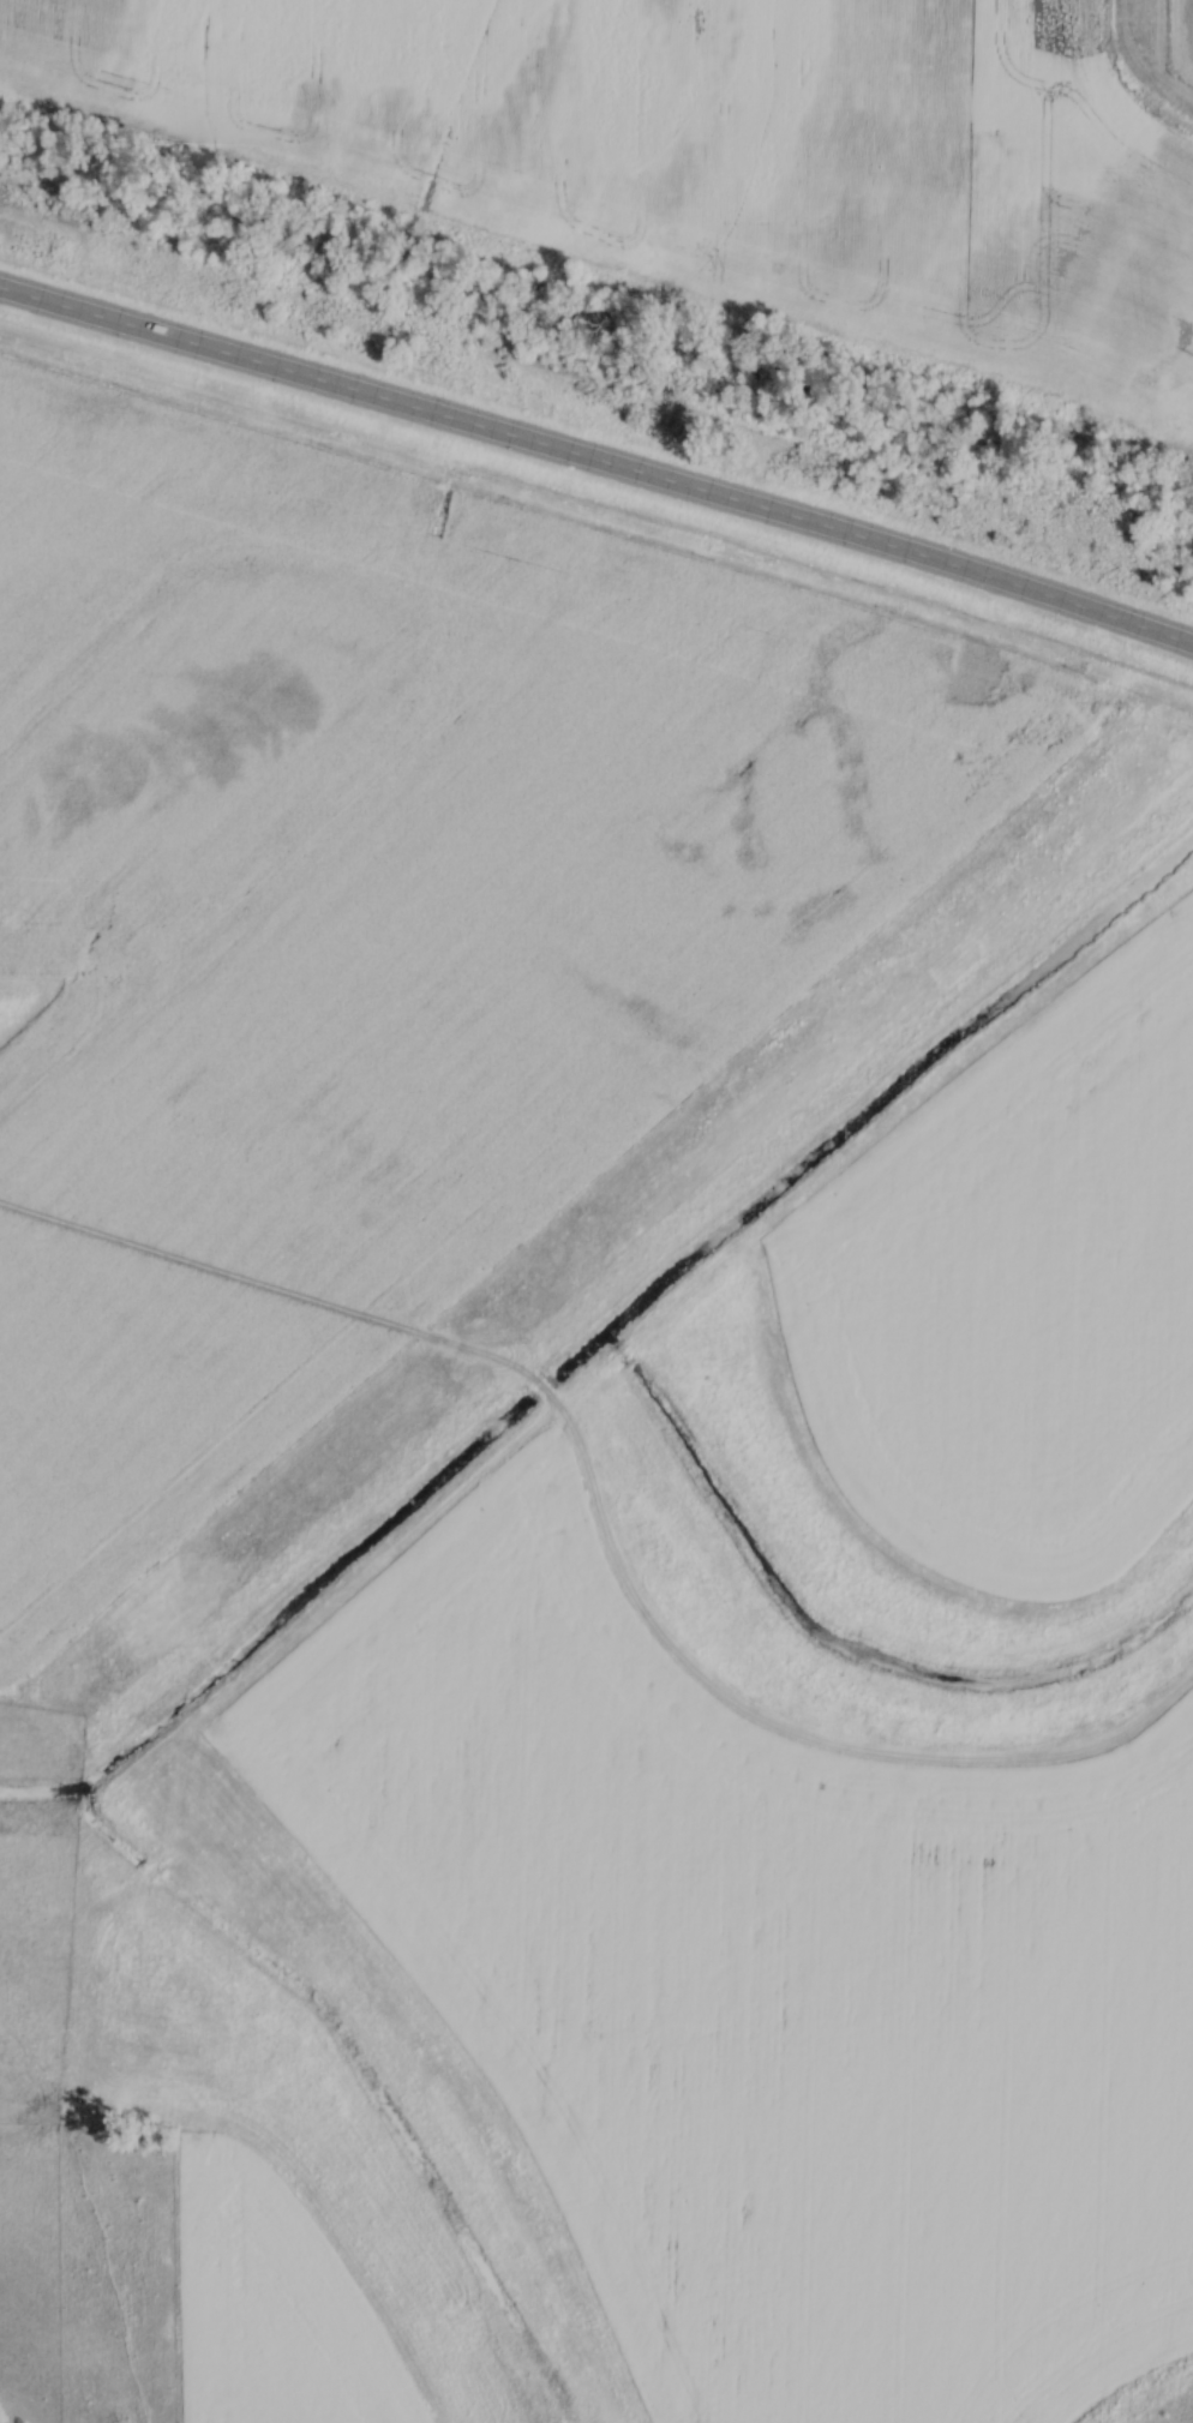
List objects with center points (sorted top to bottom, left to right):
road: (598, 457)

